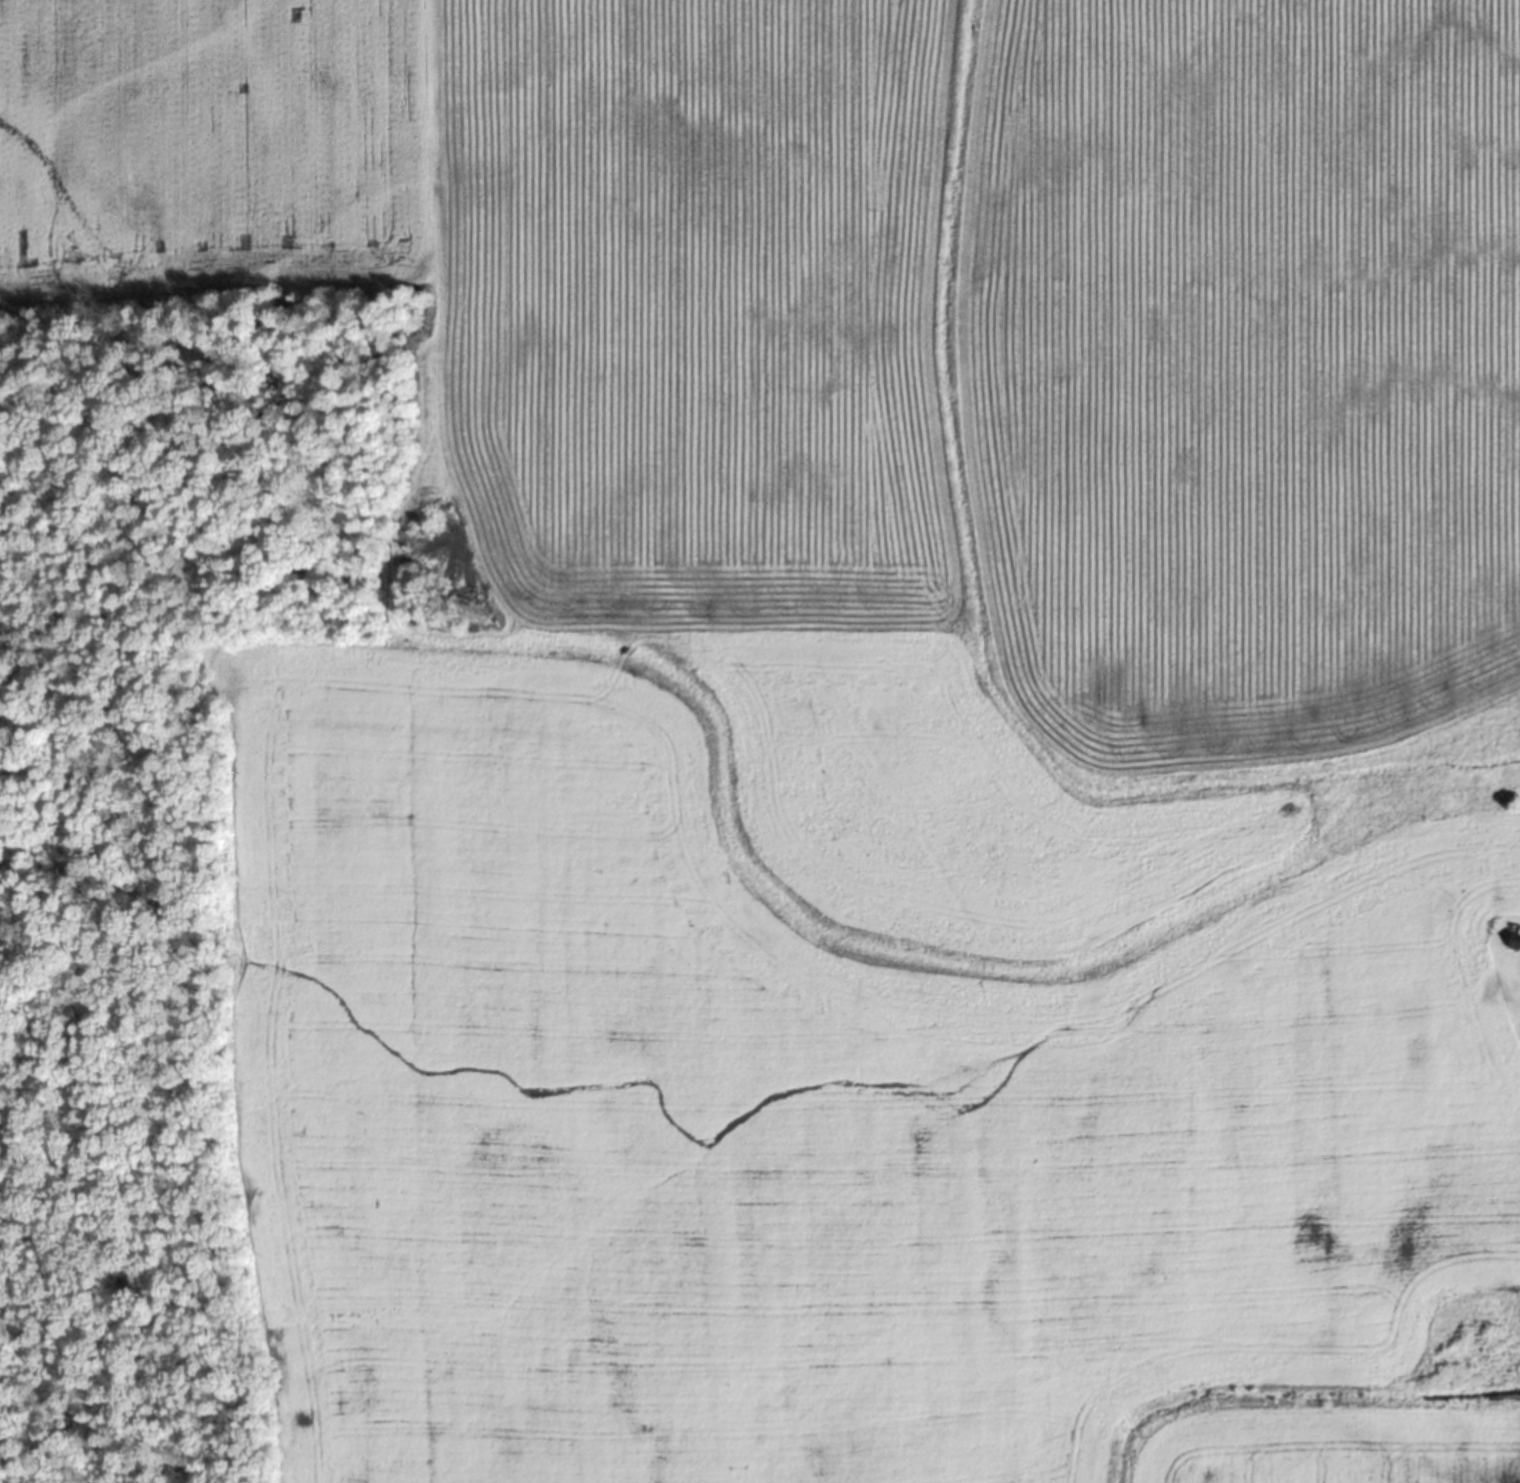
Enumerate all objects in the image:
building: (1514, 940)
building: (1487, 1018)

